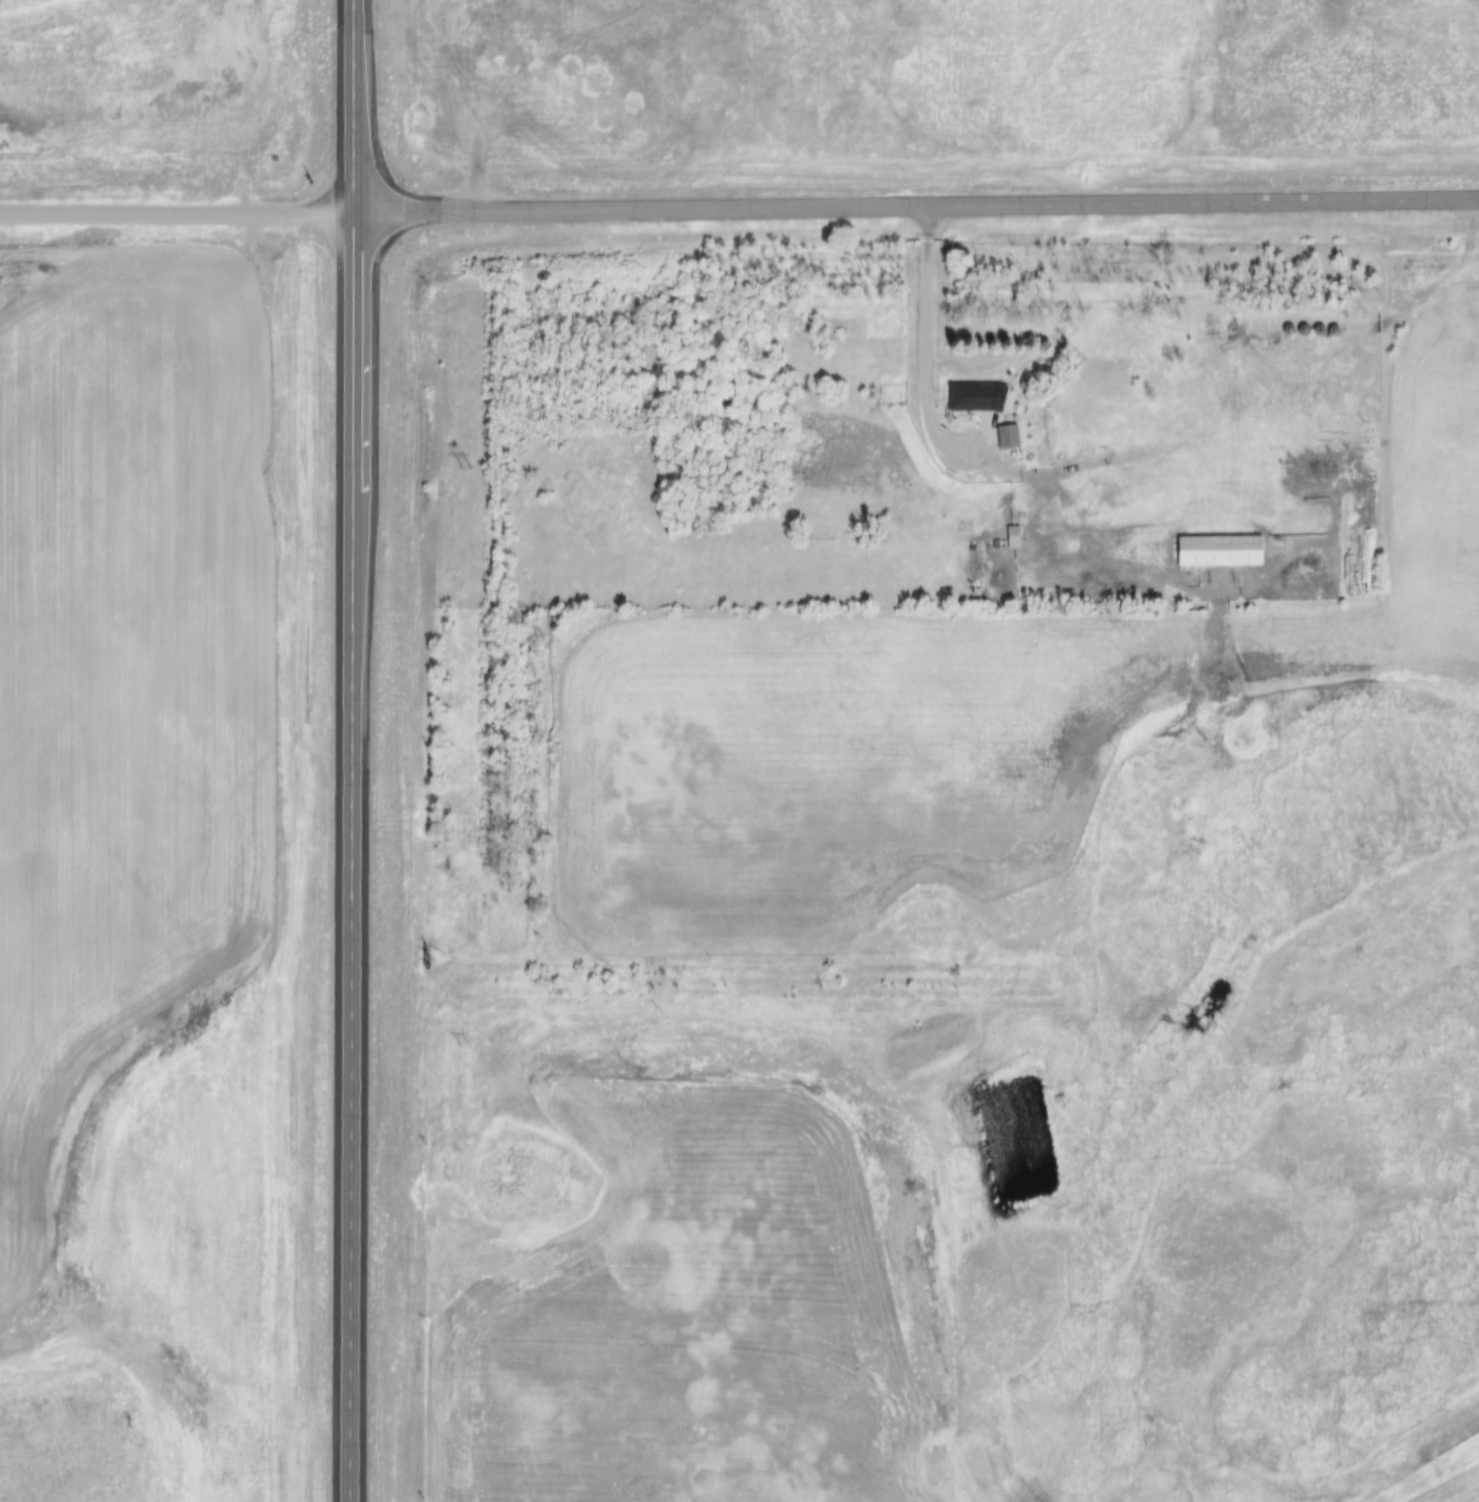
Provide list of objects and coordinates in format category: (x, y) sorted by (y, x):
road: (547, 70)
road: (918, 207)
road: (178, 214)
road: (928, 341)
building: (971, 399)
building: (1011, 438)
power tower: (467, 468)
building: (1222, 551)
road: (353, 750)
power tower: (463, 1044)

